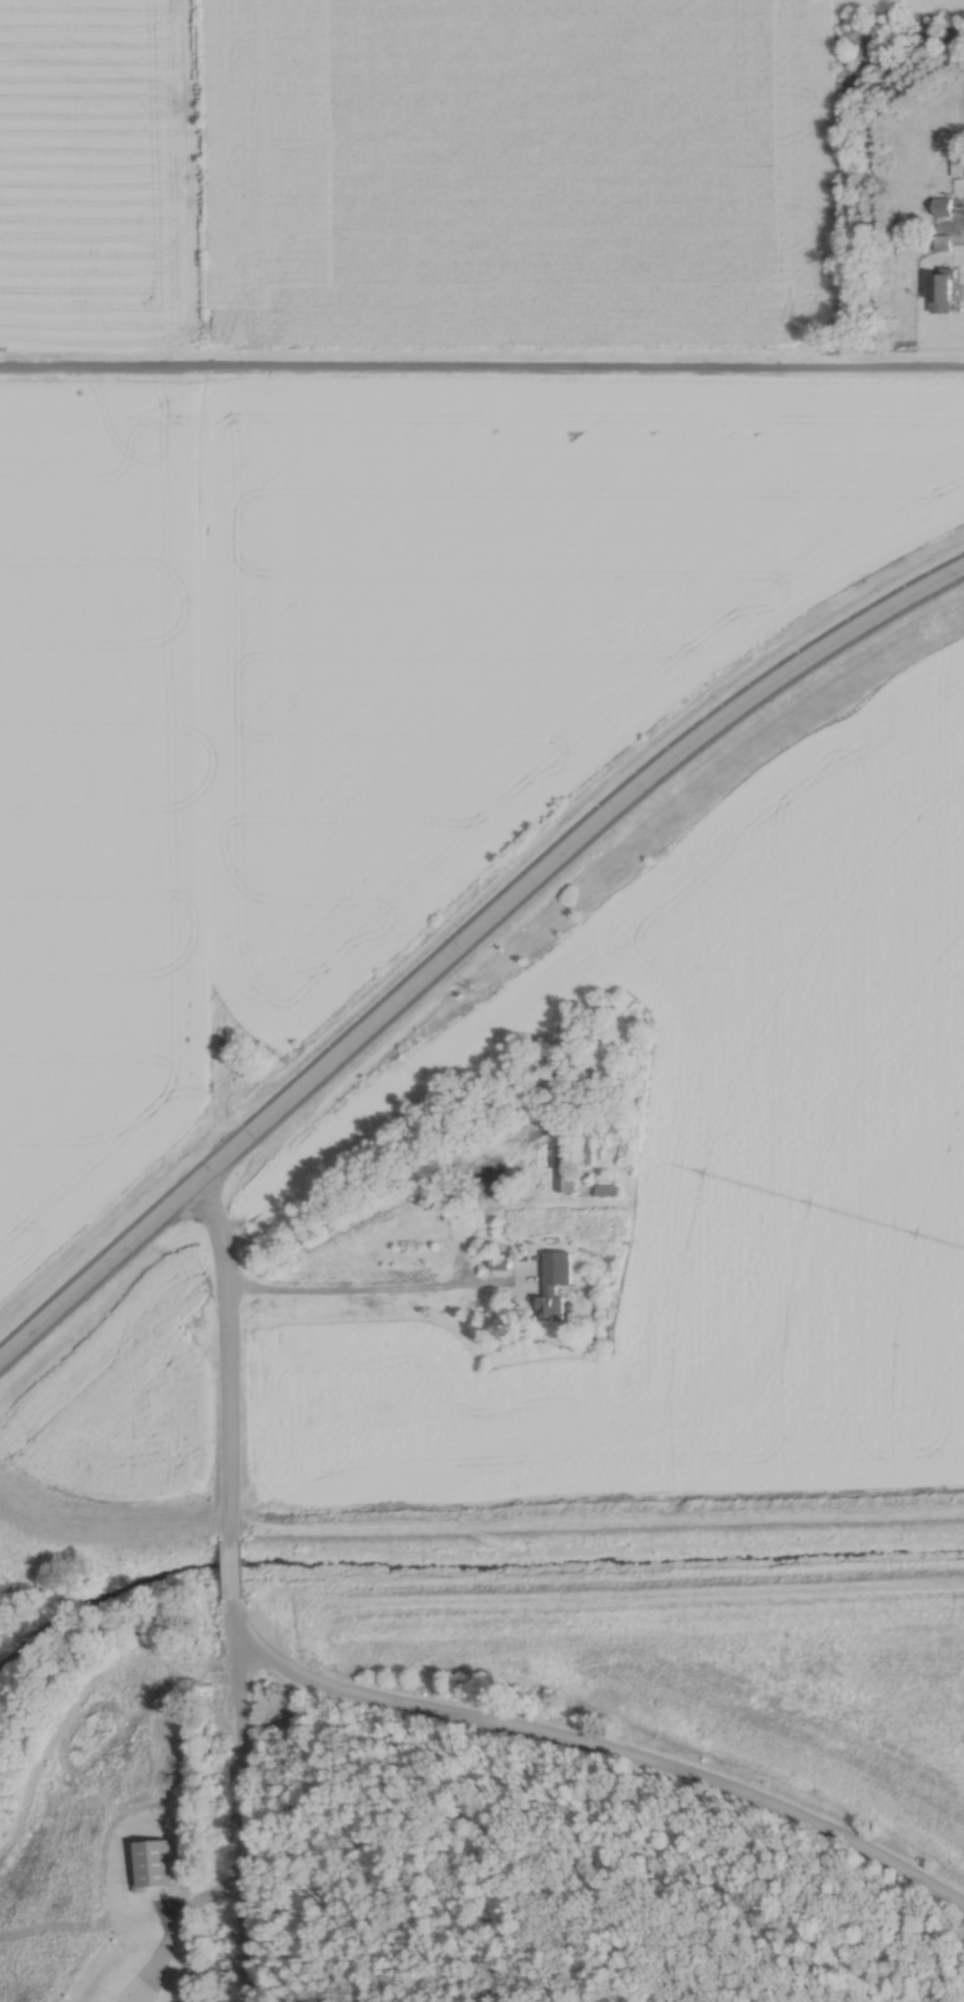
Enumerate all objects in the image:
building: (957, 161)
building: (941, 203)
building: (942, 288)
road: (482, 368)
road: (465, 942)
building: (585, 1143)
building: (562, 1157)
road: (364, 1294)
building: (549, 1306)
road: (383, 1702)
road: (239, 1816)
road: (960, 1926)
road: (182, 1930)
building: (930, 2000)

